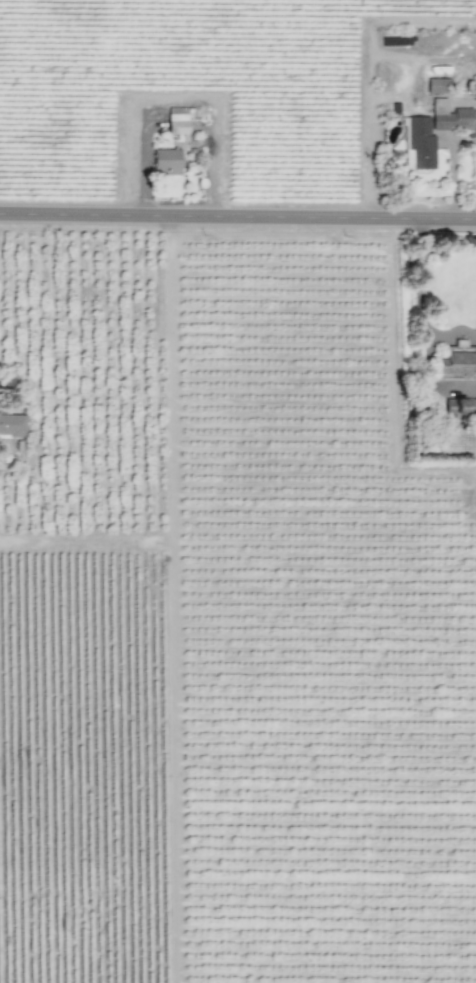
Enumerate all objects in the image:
road: (367, 70)
building: (436, 85)
building: (438, 106)
building: (452, 120)
building: (175, 124)
building: (419, 143)
building: (165, 162)
road: (237, 218)
building: (456, 364)
building: (454, 406)
building: (12, 424)

